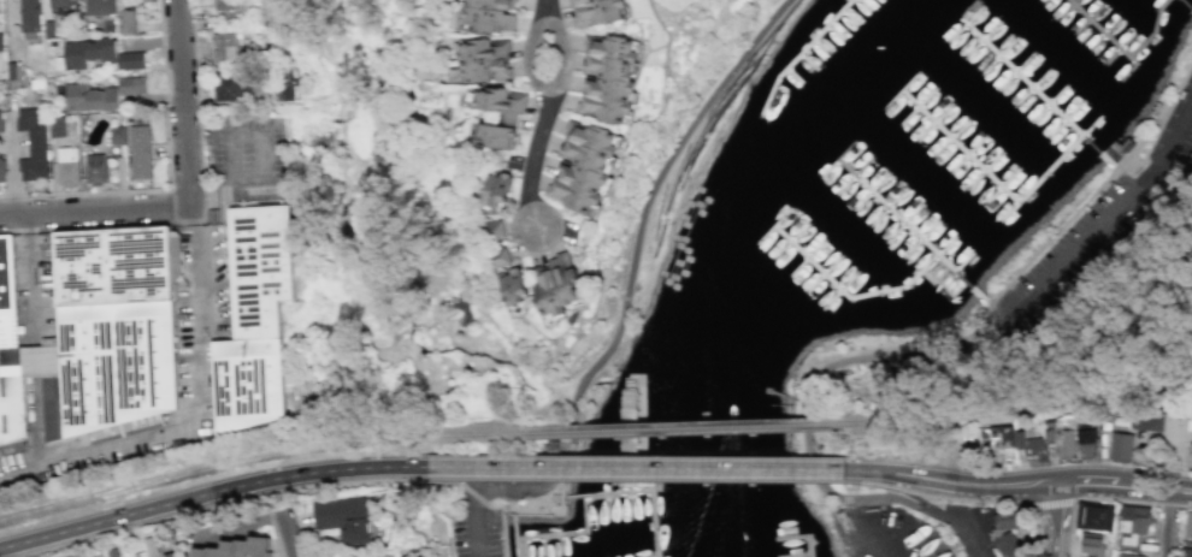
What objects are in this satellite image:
pier: (1187, 4)
building: (58, 6)
building: (228, 6)
building: (101, 7)
road: (544, 7)
building: (595, 11)
building: (490, 14)
building: (28, 16)
building: (128, 22)
building: (47, 29)
road: (667, 34)
pier: (818, 43)
building: (0, 46)
building: (224, 47)
building: (99, 55)
building: (484, 59)
pier: (1129, 59)
building: (607, 78)
building: (232, 87)
building: (287, 87)
pier: (1039, 89)
road: (550, 93)
building: (100, 95)
building: (500, 102)
road: (184, 103)
building: (0, 126)
building: (55, 128)
road: (231, 134)
building: (117, 136)
building: (495, 136)
building: (33, 144)
building: (138, 153)
parking lot: (258, 158)
road: (533, 162)
building: (66, 166)
building: (580, 167)
building: (1, 168)
building: (94, 170)
road: (167, 178)
pier: (992, 178)
road: (169, 189)
building: (496, 191)
road: (1087, 195)
road: (649, 198)
parking lot: (1109, 209)
road: (95, 213)
road: (1105, 218)
road: (200, 220)
building: (496, 229)
pier: (914, 231)
building: (501, 257)
building: (556, 285)
building: (517, 290)
pier: (850, 298)
road: (196, 318)
building: (255, 318)
building: (113, 332)
road: (33, 342)
building: (8, 354)
road: (803, 399)
railway: (1031, 408)
building: (1150, 419)
railway: (656, 428)
building: (1054, 429)
pier: (638, 432)
building: (997, 438)
building: (1090, 443)
building: (1067, 444)
building: (1032, 445)
building: (1122, 446)
park: (956, 450)
road: (100, 451)
road: (1182, 460)
railway: (218, 462)
building: (1191, 462)
road: (633, 468)
road: (386, 473)
road: (406, 478)
road: (533, 478)
road: (633, 479)
road: (873, 484)
road: (952, 484)
road: (1128, 485)
road: (641, 490)
road: (210, 493)
road: (474, 498)
road: (1116, 498)
road: (549, 499)
road: (995, 502)
road: (517, 503)
road: (921, 503)
road: (1051, 503)
road: (1170, 504)
road: (194, 506)
road: (1187, 506)
building: (1094, 516)
building: (344, 519)
road: (1060, 519)
building: (1009, 520)
road: (1173, 523)
park: (474, 525)
road: (503, 525)
building: (1133, 525)
building: (1188, 527)
parking lot: (473, 528)
road: (1069, 528)
road: (513, 531)
road: (563, 532)
road: (472, 534)
pier: (806, 534)
road: (275, 535)
road: (290, 535)
parking lot: (978, 535)
road: (974, 539)
building: (152, 545)
road: (518, 545)
building: (1009, 545)
building: (1091, 545)
building: (236, 549)
road: (503, 550)
building: (112, 552)
building: (1187, 552)
building: (172, 555)
building: (362, 556)
building: (1127, 556)

